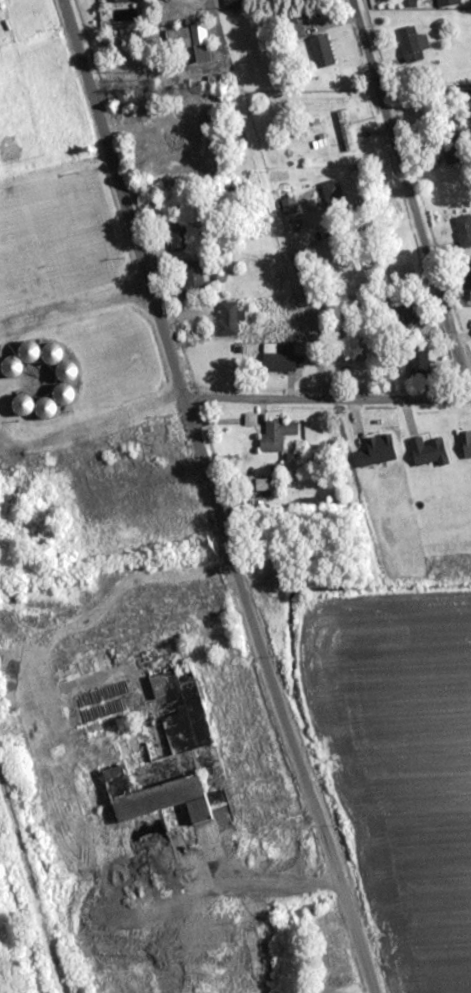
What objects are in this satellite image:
building: (232, 2)
building: (447, 3)
building: (185, 37)
building: (412, 44)
building: (321, 50)
building: (344, 130)
building: (450, 147)
building: (334, 189)
road: (413, 191)
building: (288, 204)
building: (463, 229)
building: (176, 231)
building: (468, 268)
building: (189, 279)
road: (75, 311)
building: (231, 317)
building: (405, 319)
building: (277, 362)
building: (419, 362)
road: (325, 403)
road: (91, 427)
building: (276, 434)
building: (466, 443)
building: (375, 450)
building: (428, 451)
road: (211, 499)
building: (165, 740)
building: (127, 744)
building: (236, 761)

